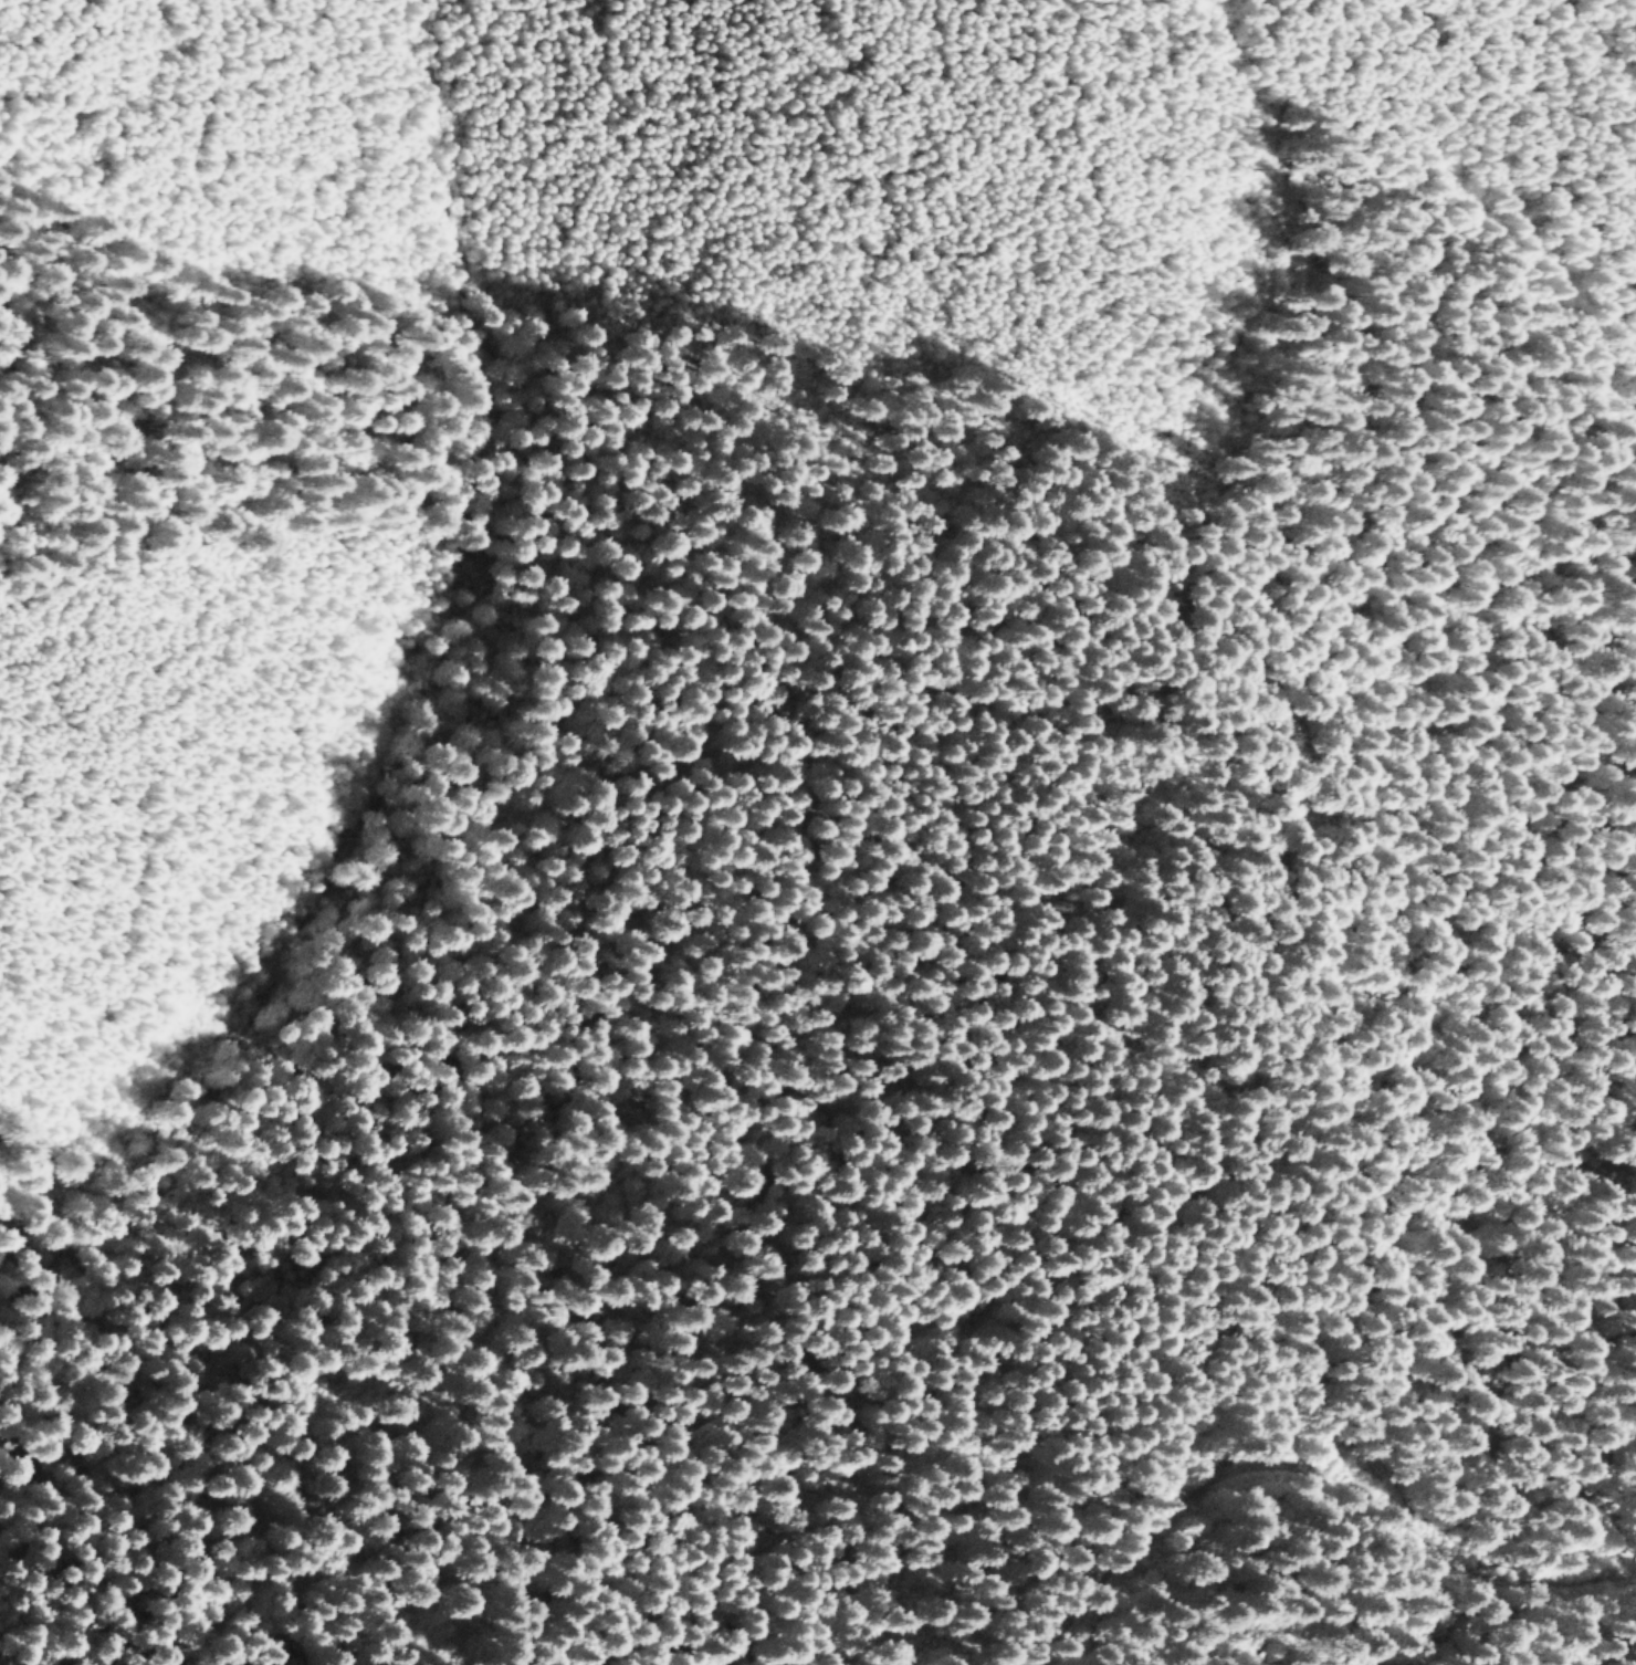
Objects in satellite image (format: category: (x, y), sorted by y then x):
road: (1293, 1452)

